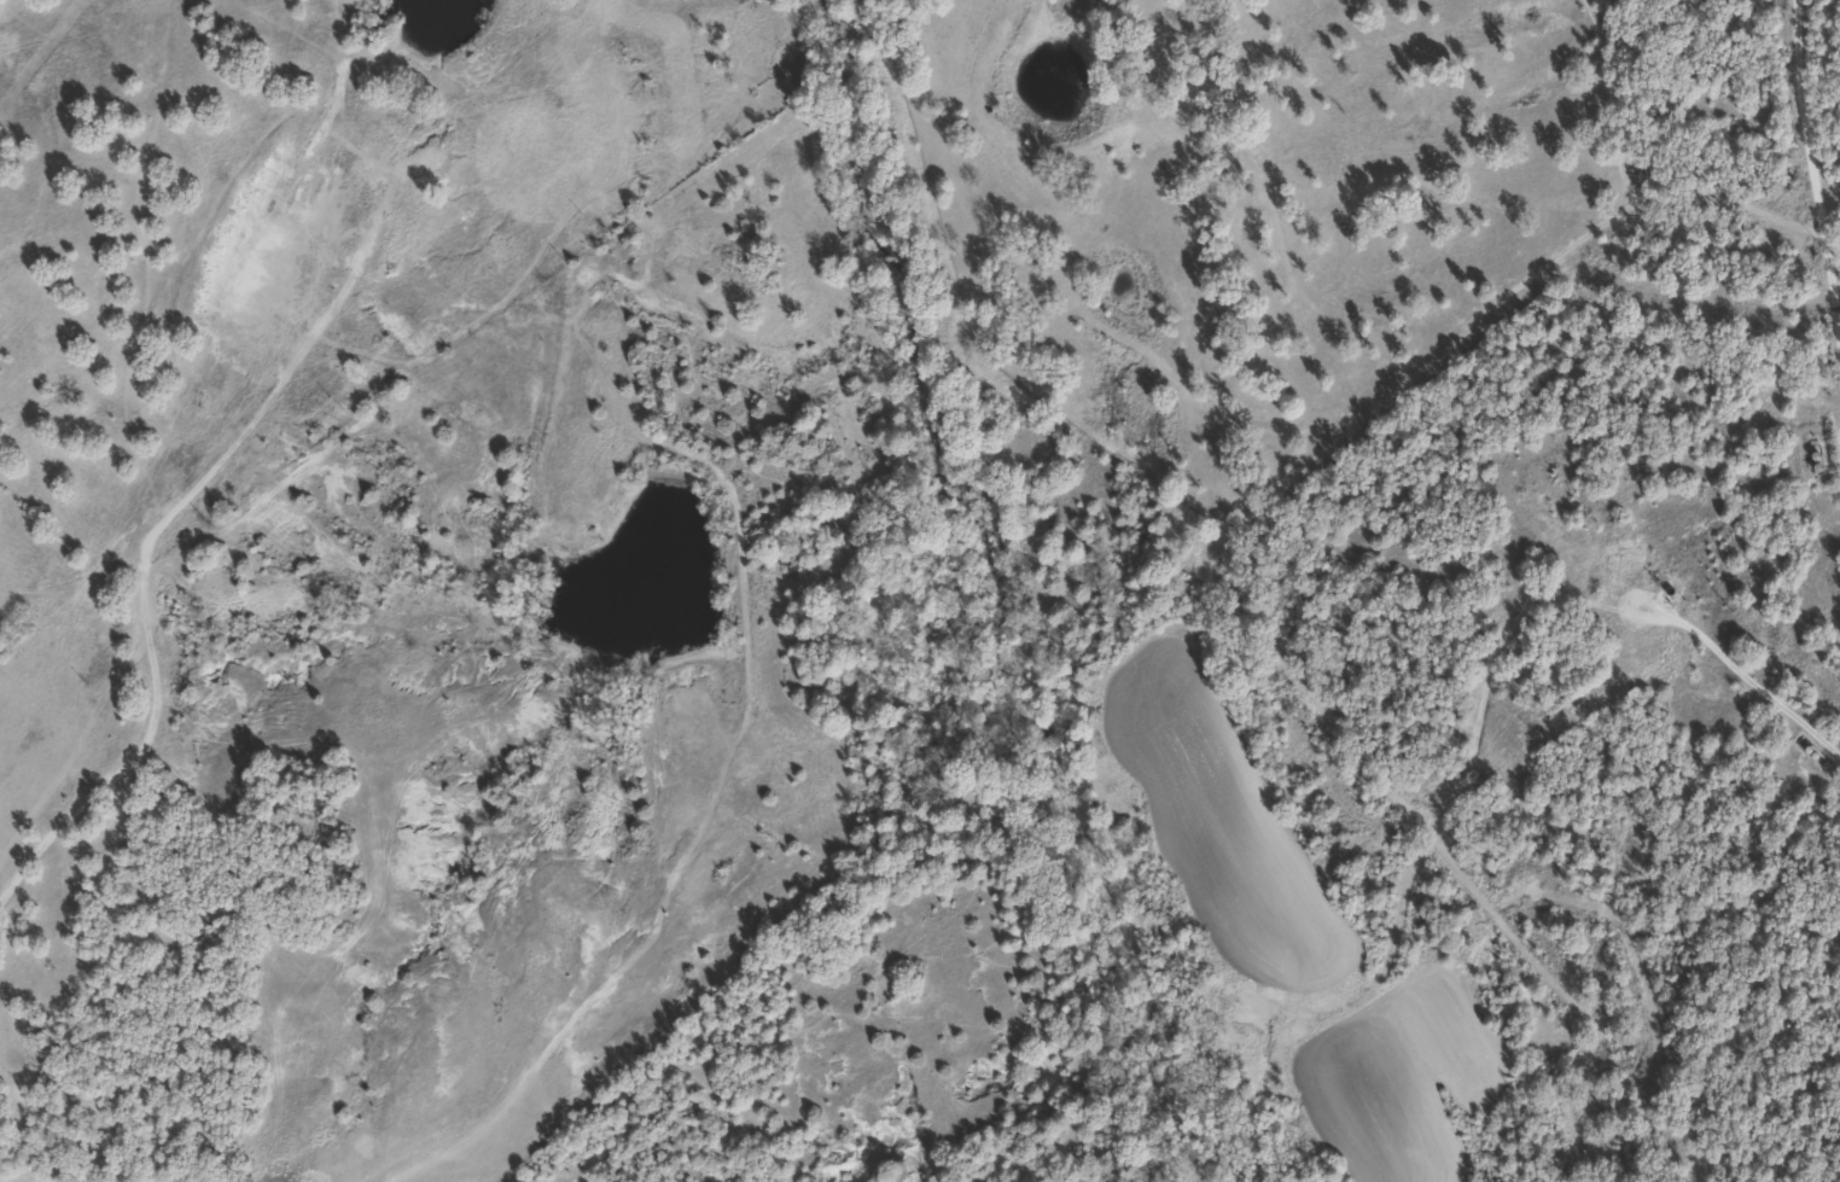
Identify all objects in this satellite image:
road: (1834, 63)

